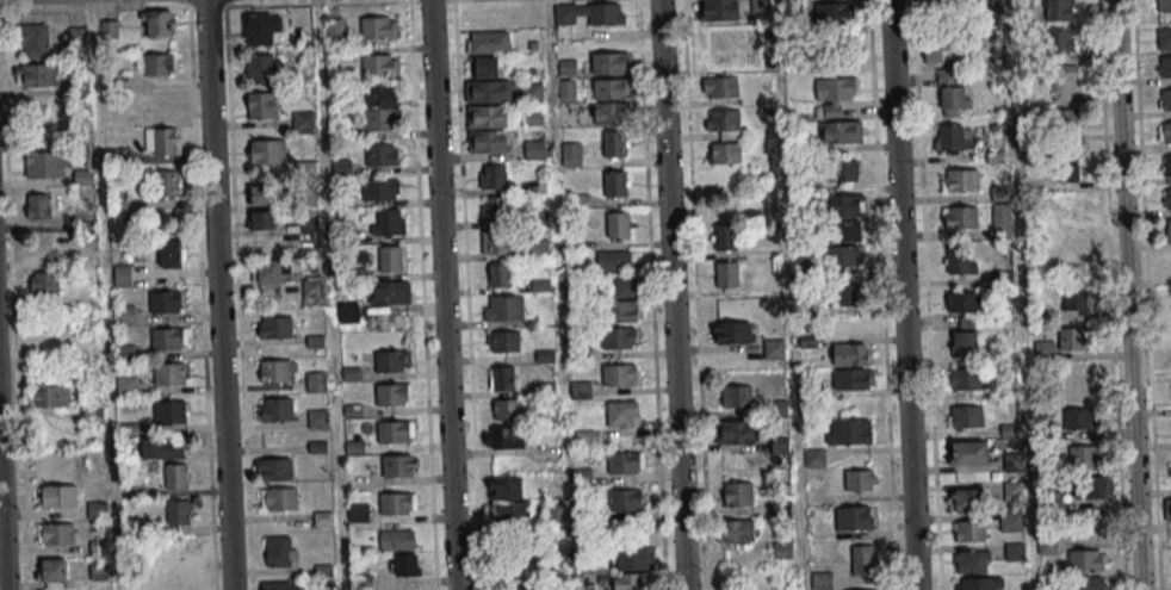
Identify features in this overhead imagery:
building: (942, 6)
building: (1164, 6)
building: (720, 10)
building: (1059, 10)
building: (589, 13)
building: (831, 13)
building: (159, 24)
building: (378, 26)
building: (260, 30)
building: (35, 41)
building: (1060, 41)
building: (1164, 41)
building: (489, 43)
building: (944, 51)
building: (159, 63)
building: (609, 63)
building: (380, 64)
building: (261, 68)
building: (1165, 68)
building: (36, 74)
building: (1065, 82)
building: (720, 87)
building: (609, 88)
building: (532, 91)
building: (568, 91)
building: (952, 92)
building: (382, 93)
building: (488, 93)
building: (834, 93)
building: (1166, 101)
building: (261, 106)
building: (611, 114)
building: (487, 118)
building: (378, 120)
building: (1065, 122)
building: (724, 123)
building: (841, 131)
building: (1166, 133)
building: (953, 136)
building: (161, 141)
building: (488, 143)
building: (614, 143)
building: (534, 149)
building: (266, 153)
building: (725, 153)
building: (571, 154)
building: (380, 156)
building: (48, 163)
building: (341, 167)
building: (1066, 167)
building: (1167, 167)
building: (844, 170)
building: (494, 176)
building: (959, 180)
building: (166, 182)
building: (615, 182)
building: (378, 190)
building: (999, 192)
building: (261, 195)
building: (580, 200)
building: (1169, 200)
building: (844, 205)
building: (38, 206)
building: (1068, 206)
building: (494, 209)
building: (959, 217)
building: (262, 219)
building: (388, 222)
building: (618, 224)
building: (1167, 230)
building: (726, 237)
building: (495, 242)
building: (582, 242)
building: (842, 243)
building: (538, 248)
building: (43, 249)
building: (172, 253)
building: (391, 259)
building: (960, 260)
building: (614, 261)
building: (272, 271)
building: (500, 274)
building: (726, 274)
building: (122, 275)
building: (42, 282)
building: (625, 287)
building: (314, 291)
building: (390, 292)
building: (843, 293)
road: (217, 294)
road: (442, 294)
road: (673, 294)
road: (902, 294)
road: (1020, 294)
road: (1126, 294)
building: (1077, 298)
building: (962, 302)
building: (163, 303)
building: (503, 308)
building: (621, 311)
building: (348, 312)
building: (125, 313)
building: (277, 329)
building: (732, 334)
building: (618, 337)
building: (1072, 337)
building: (166, 341)
building: (503, 341)
building: (964, 343)
building: (773, 349)
building: (850, 353)
building: (391, 362)
building: (275, 373)
building: (619, 374)
building: (168, 375)
building: (502, 377)
building: (850, 378)
building: (962, 379)
building: (1078, 379)
building: (316, 381)
building: (126, 386)
building: (580, 390)
building: (52, 396)
building: (392, 396)
building: (736, 396)
building: (275, 409)
building: (507, 409)
building: (169, 414)
building: (622, 414)
building: (965, 416)
building: (93, 417)
building: (317, 418)
building: (1079, 418)
building: (848, 430)
building: (737, 431)
building: (395, 433)
building: (504, 437)
building: (163, 449)
building: (967, 452)
building: (1084, 455)
building: (814, 458)
building: (625, 462)
building: (274, 468)
building: (397, 468)
building: (1170, 474)
building: (175, 476)
building: (859, 479)
building: (506, 486)
building: (1091, 486)
building: (738, 493)
building: (56, 496)
building: (279, 498)
building: (966, 498)
building: (626, 499)
building: (396, 505)
building: (1167, 509)
building: (178, 511)
building: (358, 511)
building: (512, 513)
building: (854, 517)
road: (2, 520)
building: (1012, 521)
building: (737, 530)
building: (969, 530)
building: (55, 533)
building: (396, 541)
building: (782, 548)
building: (280, 551)
building: (1014, 551)
building: (634, 559)
building: (863, 559)
building: (522, 560)
building: (972, 560)
building: (1088, 560)
building: (407, 564)
building: (54, 572)
building: (822, 580)
building: (631, 582)
building: (1088, 583)
building: (978, 584)
building: (284, 585)

